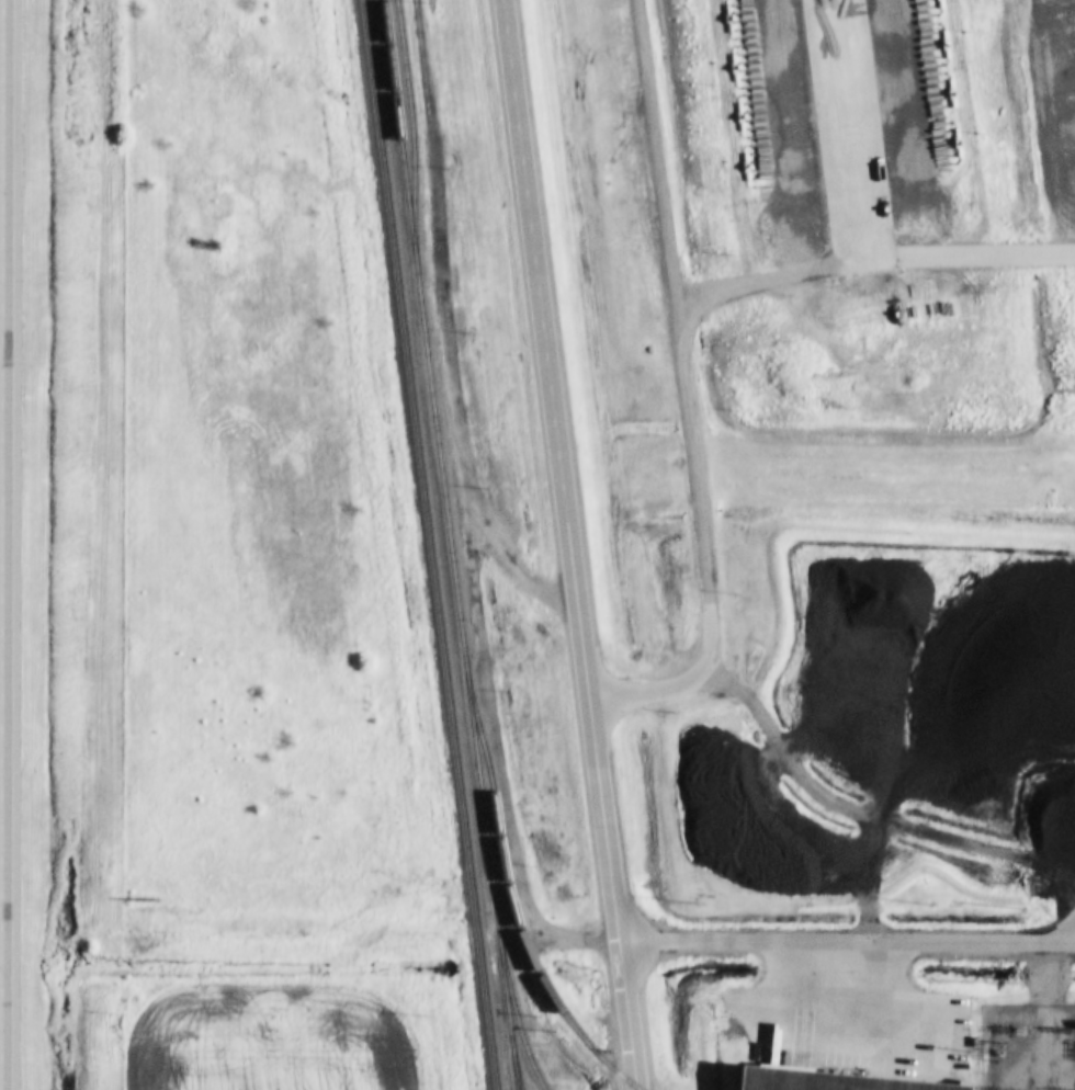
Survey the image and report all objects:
railway: (409, 134)
road: (864, 236)
road: (684, 396)
railway: (427, 544)
railway: (446, 544)
road: (1, 545)
road: (569, 545)
railway: (508, 896)
road: (847, 940)
railway: (511, 1004)
crop: (291, 1031)
power substation: (1027, 1046)
railway: (511, 1065)
building: (840, 1080)

